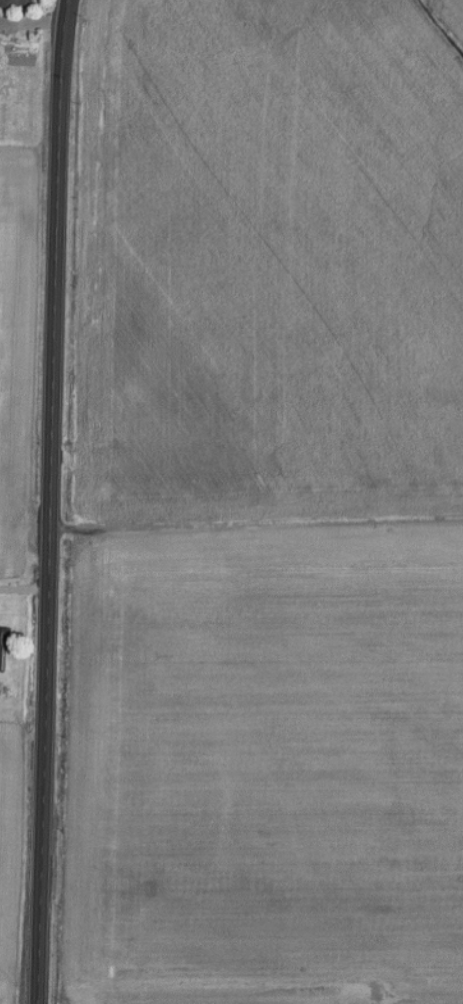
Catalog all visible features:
building: (17, 3)
road: (49, 501)
building: (3, 647)

